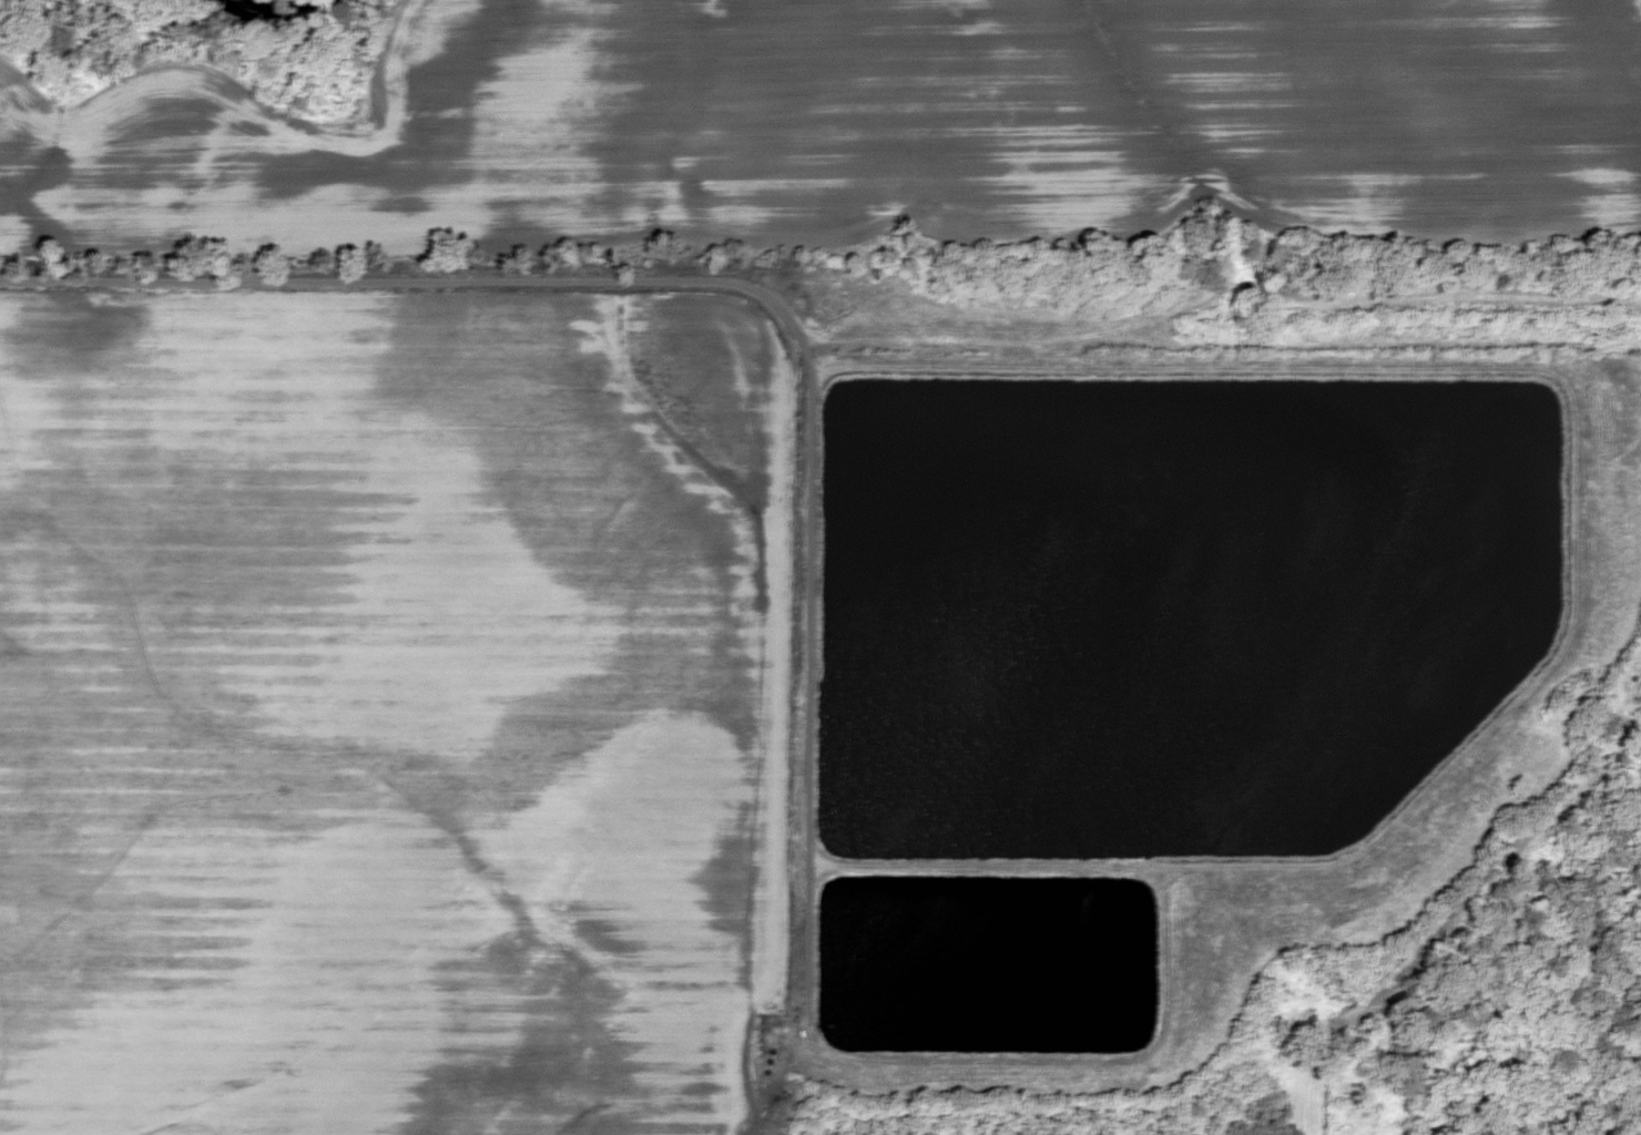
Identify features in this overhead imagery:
road: (747, 292)

